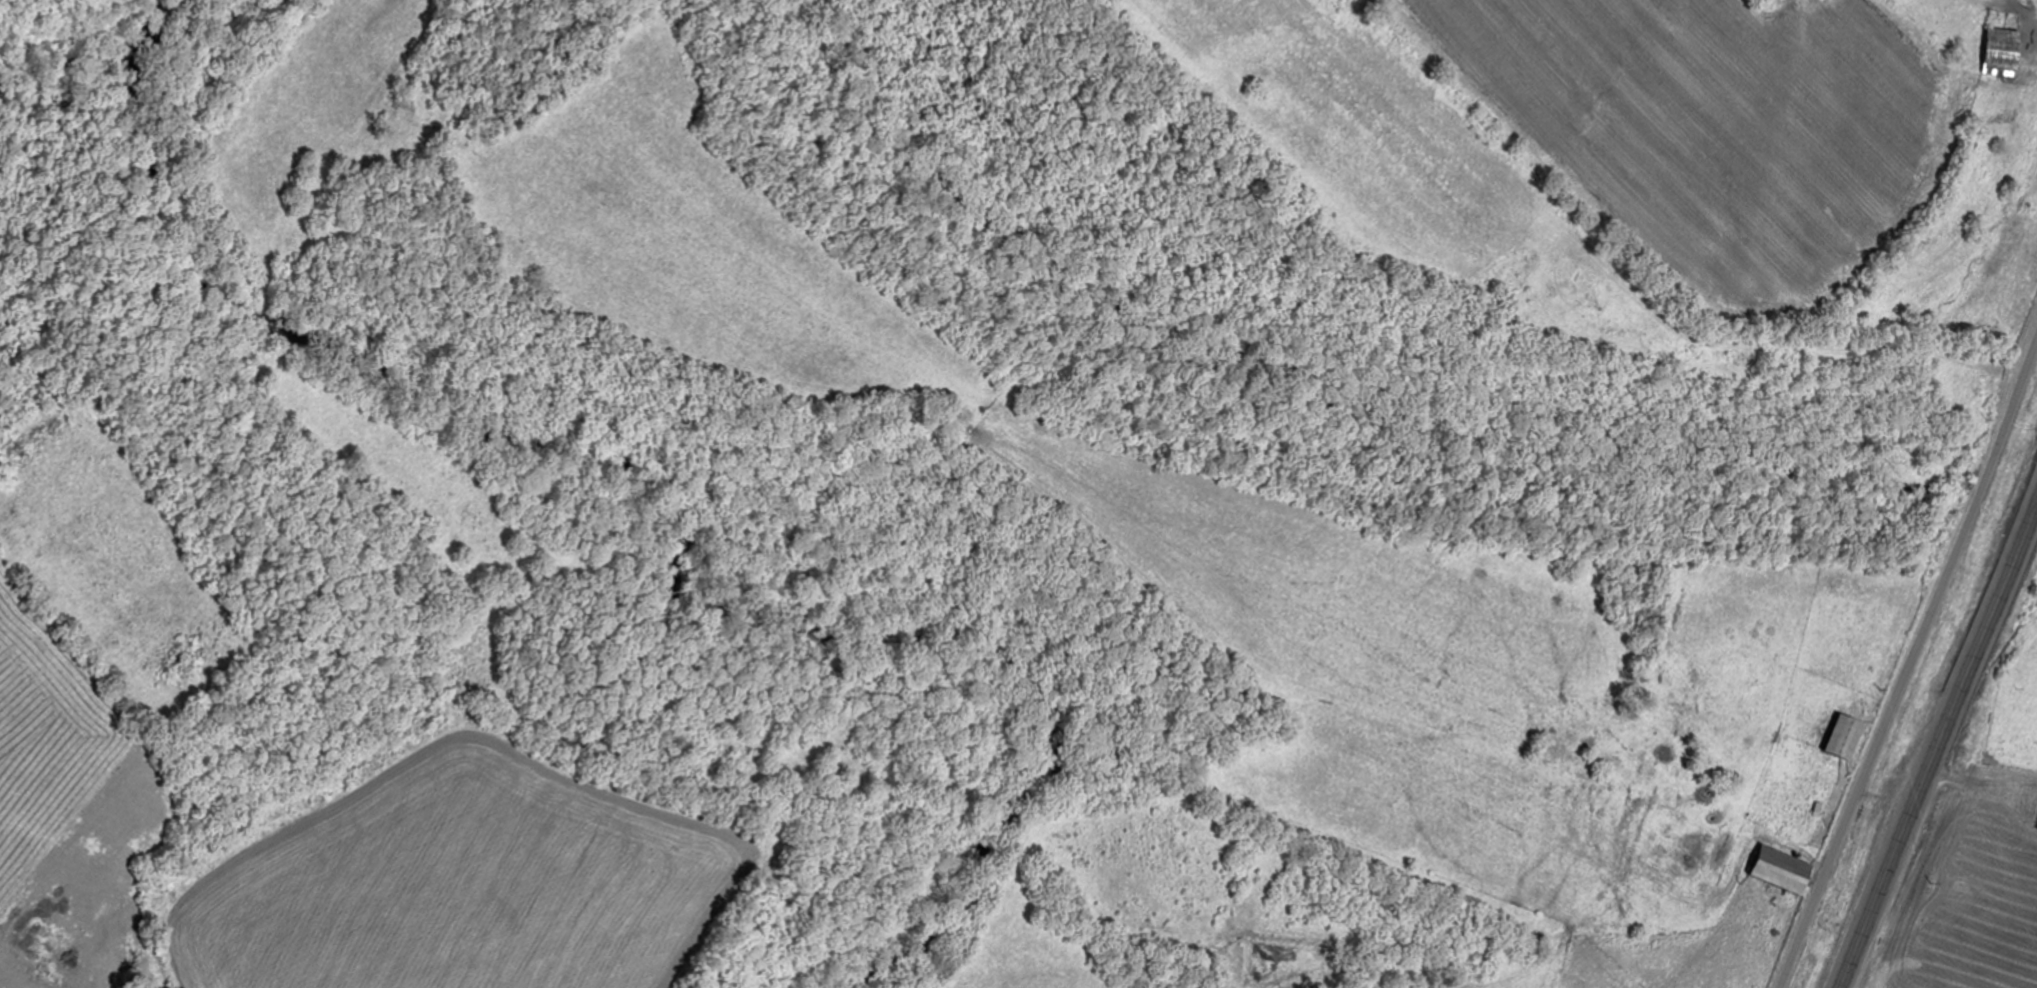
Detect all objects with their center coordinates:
building: (2006, 52)
road: (1908, 666)
building: (1848, 735)
road: (1939, 741)
building: (2028, 802)
building: (1786, 870)

